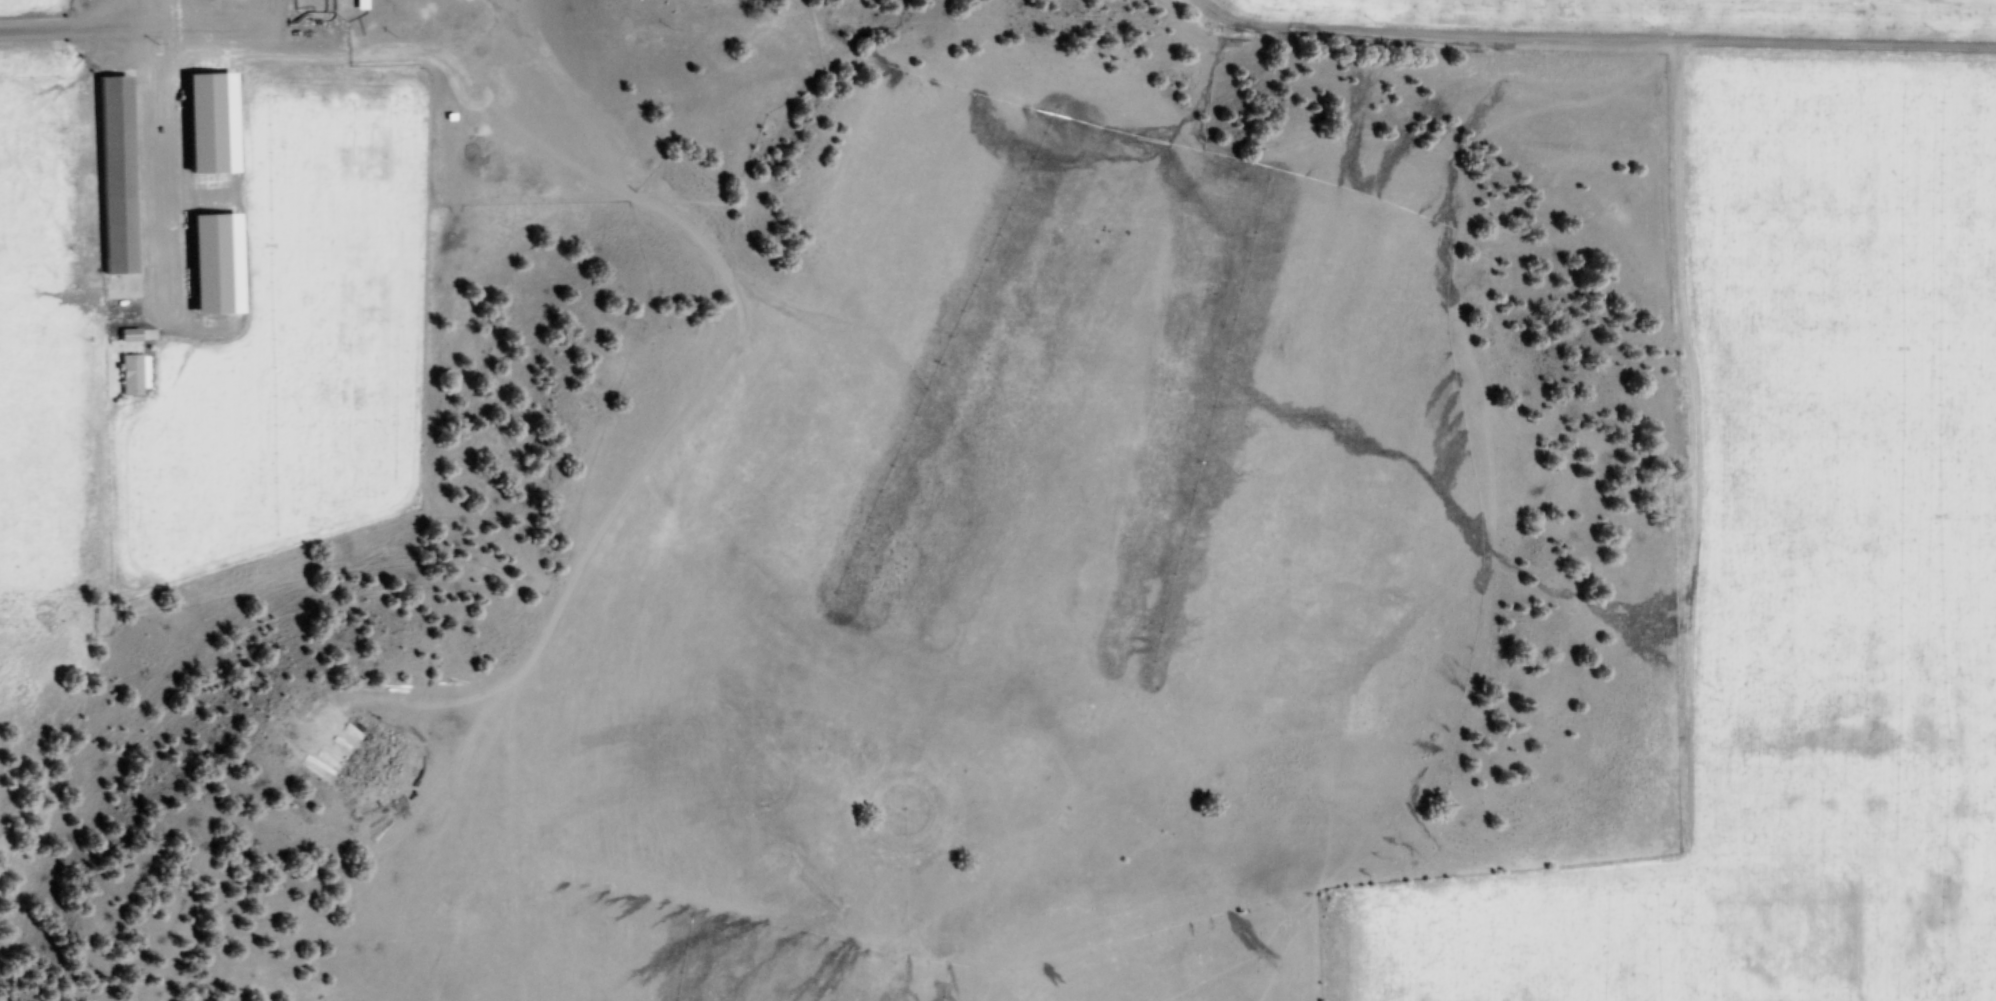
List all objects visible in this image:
road: (63, 31)
road: (1593, 39)
building: (204, 124)
building: (111, 175)
building: (209, 264)
building: (126, 336)
building: (131, 374)

